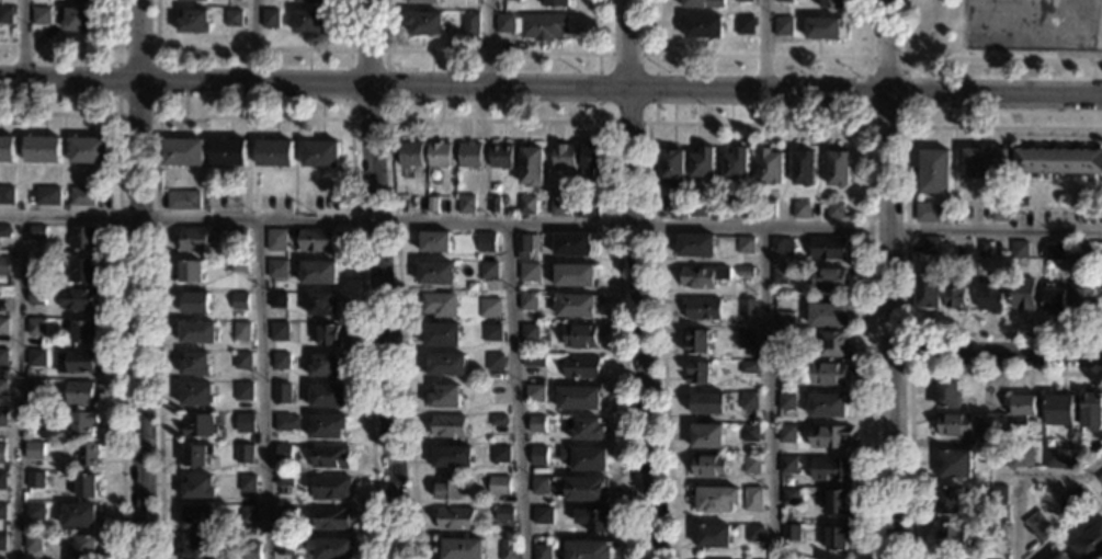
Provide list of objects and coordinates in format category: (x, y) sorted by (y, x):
building: (200, 0)
building: (742, 0)
building: (311, 1)
building: (423, 1)
building: (783, 1)
building: (556, 2)
building: (693, 3)
building: (831, 3)
building: (5, 15)
building: (41, 15)
building: (234, 18)
building: (270, 19)
building: (79, 20)
building: (193, 21)
building: (309, 22)
building: (425, 23)
building: (504, 23)
building: (469, 24)
building: (743, 25)
building: (544, 26)
building: (703, 26)
building: (783, 26)
building: (823, 28)
road: (1087, 30)
road: (24, 39)
road: (251, 42)
road: (491, 43)
road: (627, 44)
road: (762, 44)
road: (81, 46)
road: (1029, 48)
road: (251, 49)
road: (488, 52)
road: (658, 53)
road: (589, 54)
road: (623, 54)
road: (763, 55)
road: (972, 59)
road: (550, 88)
road: (597, 88)
road: (650, 89)
road: (863, 92)
road: (902, 92)
road: (606, 115)
road: (644, 115)
road: (155, 116)
road: (250, 116)
road: (386, 119)
road: (495, 121)
road: (625, 123)
road: (751, 124)
road: (1002, 127)
building: (7, 148)
building: (43, 149)
building: (89, 150)
building: (183, 151)
building: (228, 151)
building: (440, 152)
building: (274, 153)
building: (320, 153)
building: (411, 155)
building: (470, 155)
building: (500, 156)
building: (564, 157)
building: (591, 159)
building: (1057, 162)
building: (702, 163)
building: (984, 163)
building: (736, 164)
building: (671, 166)
building: (531, 167)
building: (769, 167)
building: (803, 168)
building: (837, 169)
building: (933, 171)
building: (47, 195)
building: (7, 196)
building: (82, 197)
building: (183, 201)
building: (1021, 201)
building: (417, 204)
building: (466, 204)
building: (432, 205)
building: (493, 205)
building: (526, 205)
building: (560, 206)
building: (589, 208)
building: (677, 208)
building: (697, 208)
building: (765, 208)
building: (729, 209)
building: (799, 210)
building: (833, 210)
building: (999, 212)
building: (931, 213)
road: (550, 221)
building: (4, 231)
building: (37, 232)
building: (237, 236)
building: (82, 238)
building: (195, 239)
building: (276, 240)
building: (316, 241)
building: (434, 242)
building: (486, 242)
building: (572, 244)
building: (743, 244)
building: (695, 246)
building: (781, 247)
building: (931, 247)
building: (525, 248)
building: (827, 248)
building: (982, 249)
building: (1019, 250)
building: (1053, 251)
building: (1082, 251)
building: (4, 264)
building: (37, 264)
building: (239, 266)
building: (84, 270)
building: (277, 270)
building: (488, 270)
building: (191, 271)
building: (529, 272)
building: (745, 272)
building: (318, 273)
building: (436, 273)
building: (575, 275)
building: (780, 275)
building: (702, 276)
road: (118, 277)
building: (829, 278)
road: (887, 278)
road: (140, 279)
road: (376, 279)
building: (928, 289)
building: (776, 293)
building: (1022, 294)
building: (954, 295)
building: (990, 295)
building: (36, 296)
building: (1087, 298)
building: (277, 299)
building: (1054, 299)
building: (79, 300)
building: (527, 301)
building: (195, 303)
building: (239, 303)
building: (323, 305)
building: (439, 305)
building: (576, 306)
building: (745, 307)
building: (489, 308)
building: (702, 309)
building: (828, 316)
building: (784, 320)
road: (639, 323)
building: (3, 327)
building: (36, 327)
road: (905, 328)
building: (84, 331)
building: (241, 331)
building: (279, 331)
building: (198, 332)
building: (491, 332)
building: (529, 333)
building: (328, 334)
building: (442, 334)
road: (905, 334)
building: (581, 335)
building: (783, 339)
building: (746, 340)
building: (696, 342)
building: (833, 344)
road: (993, 355)
building: (3, 357)
building: (36, 357)
building: (243, 361)
building: (281, 361)
building: (495, 362)
building: (533, 362)
building: (75, 363)
building: (195, 364)
building: (447, 364)
building: (326, 365)
building: (581, 367)
building: (747, 367)
building: (784, 369)
road: (1004, 372)
building: (698, 373)
building: (829, 374)
building: (536, 376)
road: (18, 386)
building: (3, 388)
building: (36, 388)
road: (264, 388)
road: (515, 390)
road: (766, 391)
building: (82, 392)
building: (243, 392)
building: (282, 392)
building: (535, 393)
building: (946, 393)
building: (197, 395)
building: (327, 397)
building: (445, 397)
building: (1000, 397)
building: (579, 398)
building: (748, 401)
building: (785, 401)
building: (707, 403)
building: (827, 406)
building: (1021, 409)
building: (1059, 410)
building: (1091, 410)
building: (3, 419)
building: (35, 420)
building: (498, 421)
building: (286, 422)
building: (83, 423)
building: (246, 423)
building: (536, 424)
building: (954, 424)
building: (197, 425)
building: (447, 425)
building: (327, 427)
building: (588, 430)
building: (749, 433)
building: (786, 434)
building: (706, 436)
building: (830, 436)
building: (999, 440)
building: (35, 447)
building: (283, 453)
building: (2, 454)
building: (245, 454)
building: (88, 455)
building: (197, 455)
building: (500, 455)
building: (538, 456)
building: (452, 457)
building: (999, 457)
building: (1021, 457)
building: (330, 458)
building: (586, 458)
building: (1055, 458)
building: (956, 464)
building: (751, 465)
road: (908, 465)
building: (709, 466)
building: (787, 466)
building: (831, 469)
road: (1021, 476)
building: (284, 479)
building: (1100, 479)
building: (35, 480)
building: (2, 481)
building: (248, 484)
building: (500, 486)
building: (539, 486)
building: (86, 487)
building: (197, 488)
building: (331, 488)
building: (448, 489)
building: (586, 489)
building: (997, 494)
building: (789, 497)
building: (716, 499)
building: (752, 499)
building: (948, 499)
building: (1072, 501)
building: (838, 502)
building: (2, 512)
building: (35, 512)
building: (504, 514)
building: (79, 515)
building: (249, 515)
building: (543, 515)
building: (286, 516)
building: (196, 517)
building: (332, 520)
building: (455, 520)
building: (593, 520)
building: (1039, 527)
building: (997, 532)
building: (791, 533)
building: (753, 534)
building: (713, 536)
building: (951, 537)
building: (838, 538)
building: (2, 540)
building: (33, 541)
building: (1090, 544)
building: (285, 546)
building: (86, 547)
building: (200, 548)
building: (329, 548)
building: (463, 549)
building: (587, 549)
building: (251, 550)
building: (544, 550)
building: (509, 551)
building: (1061, 557)

